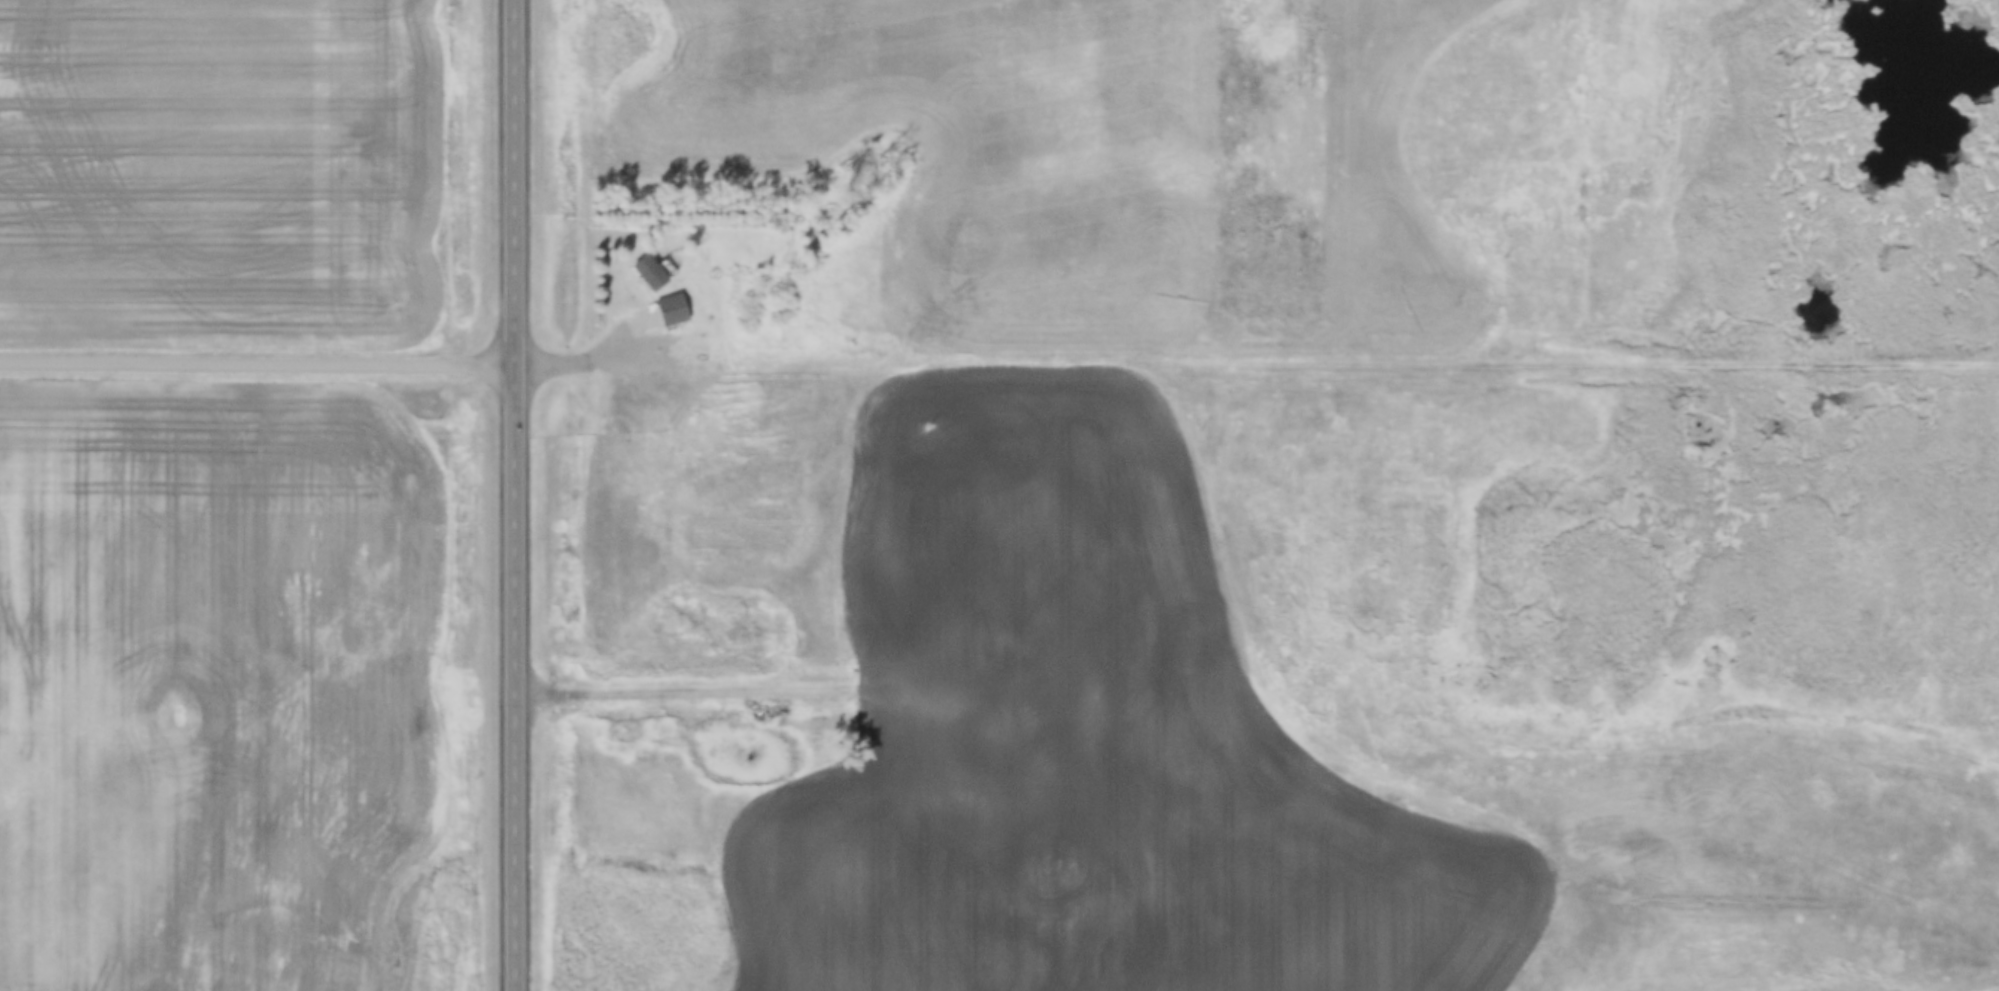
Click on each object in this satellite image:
road: (513, 183)
building: (649, 273)
building: (671, 309)
road: (584, 362)
road: (256, 365)
road: (512, 678)
building: (987, 778)

